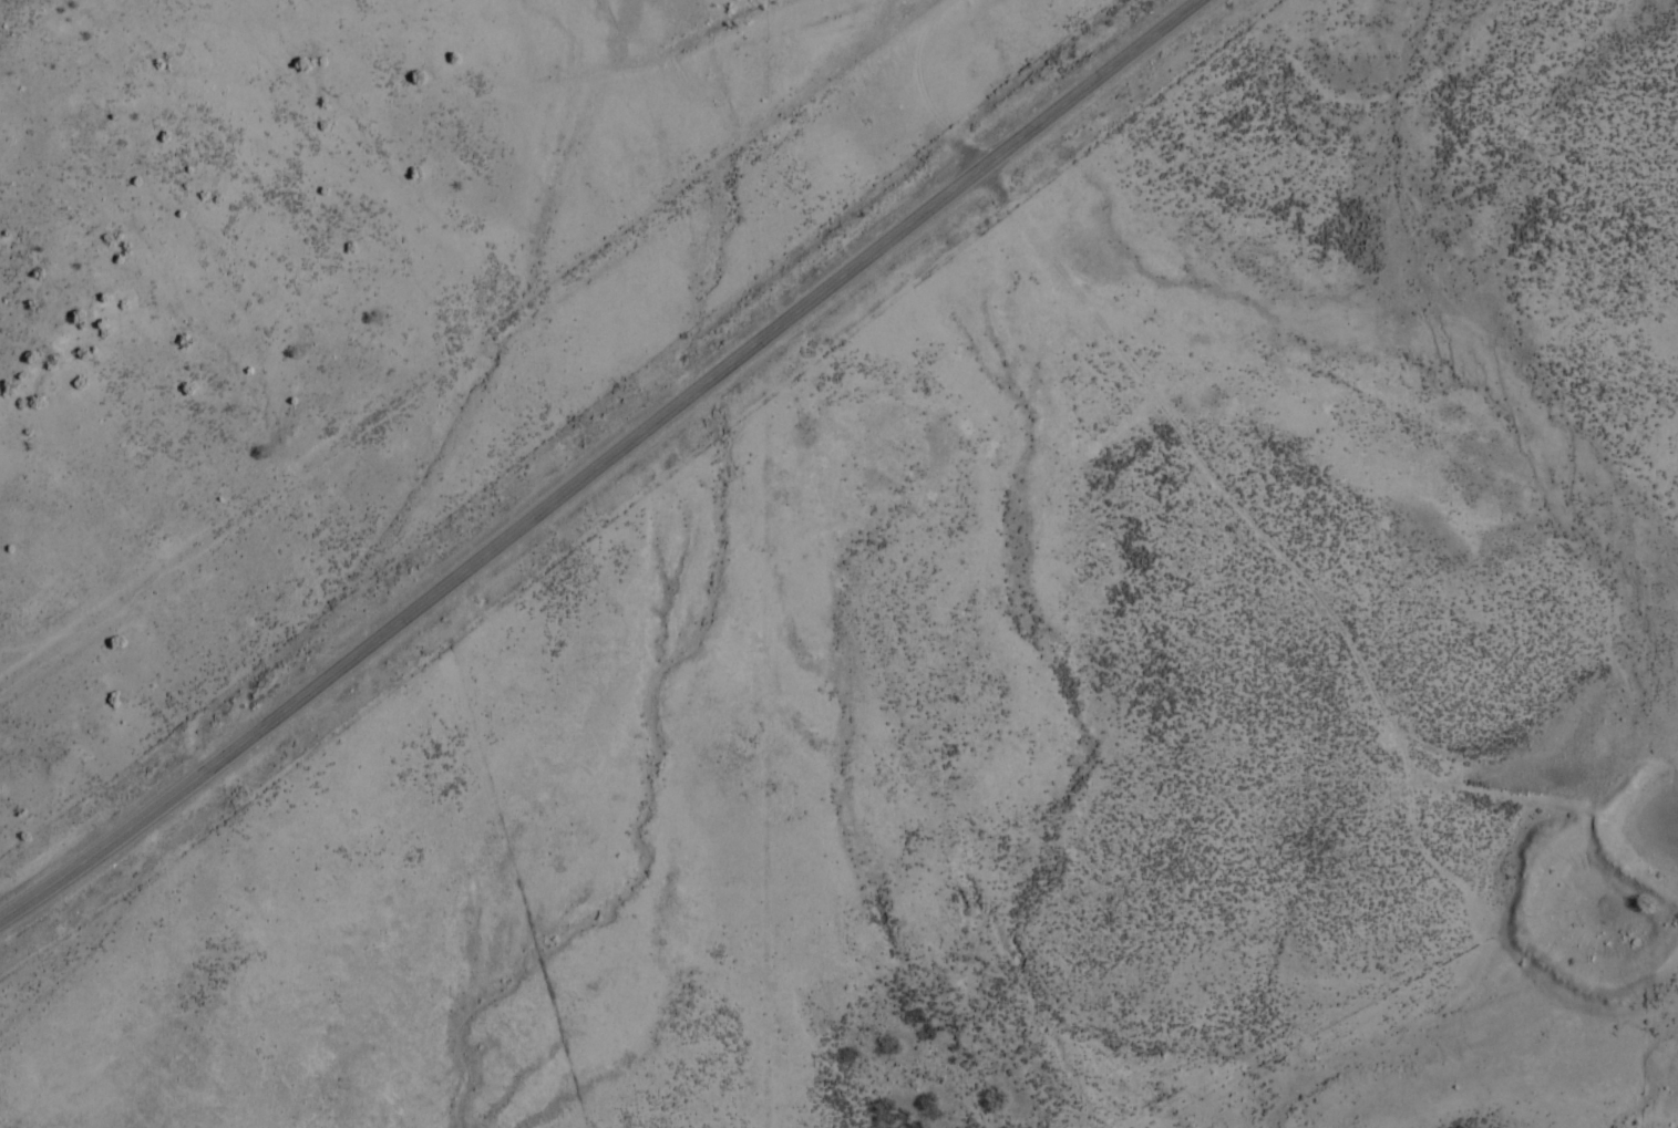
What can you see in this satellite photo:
road: (598, 459)

